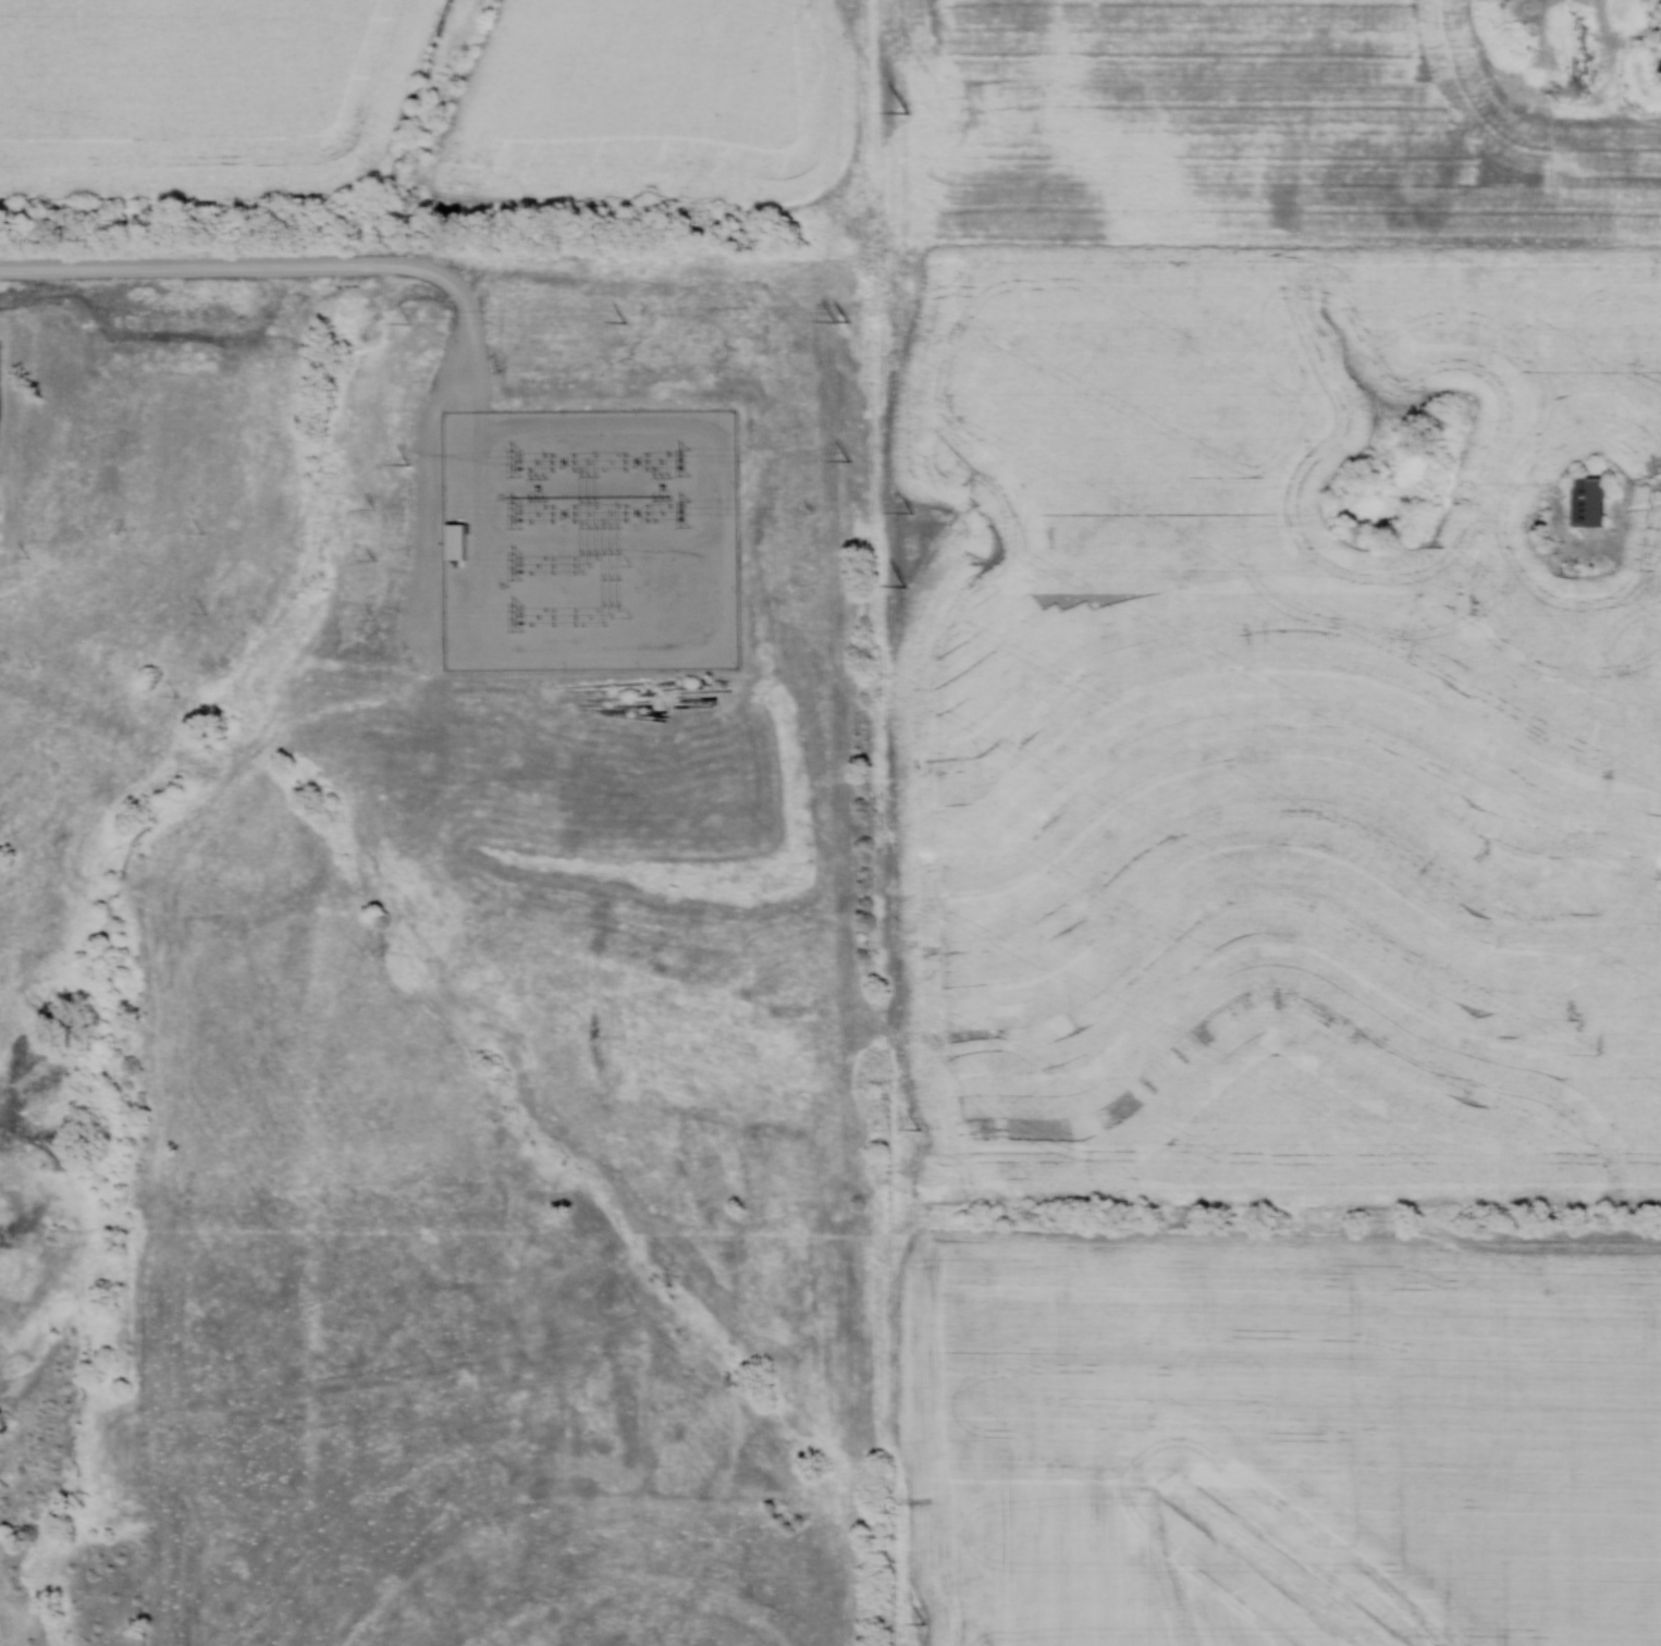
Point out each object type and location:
power tower: (907, 112)
road: (295, 265)
power tower: (833, 319)
power tower: (846, 319)
power tower: (625, 321)
power tower: (409, 322)
power tower: (847, 459)
power tower: (684, 460)
power tower: (408, 463)
power tower: (515, 463)
road: (428, 486)
building: (1588, 501)
power tower: (684, 512)
power tower: (911, 512)
power tower: (515, 513)
power substation: (589, 539)
building: (454, 540)
power tower: (515, 565)
power tower: (905, 585)
power tower: (516, 616)
power tower: (918, 1129)
power tower: (922, 1622)

